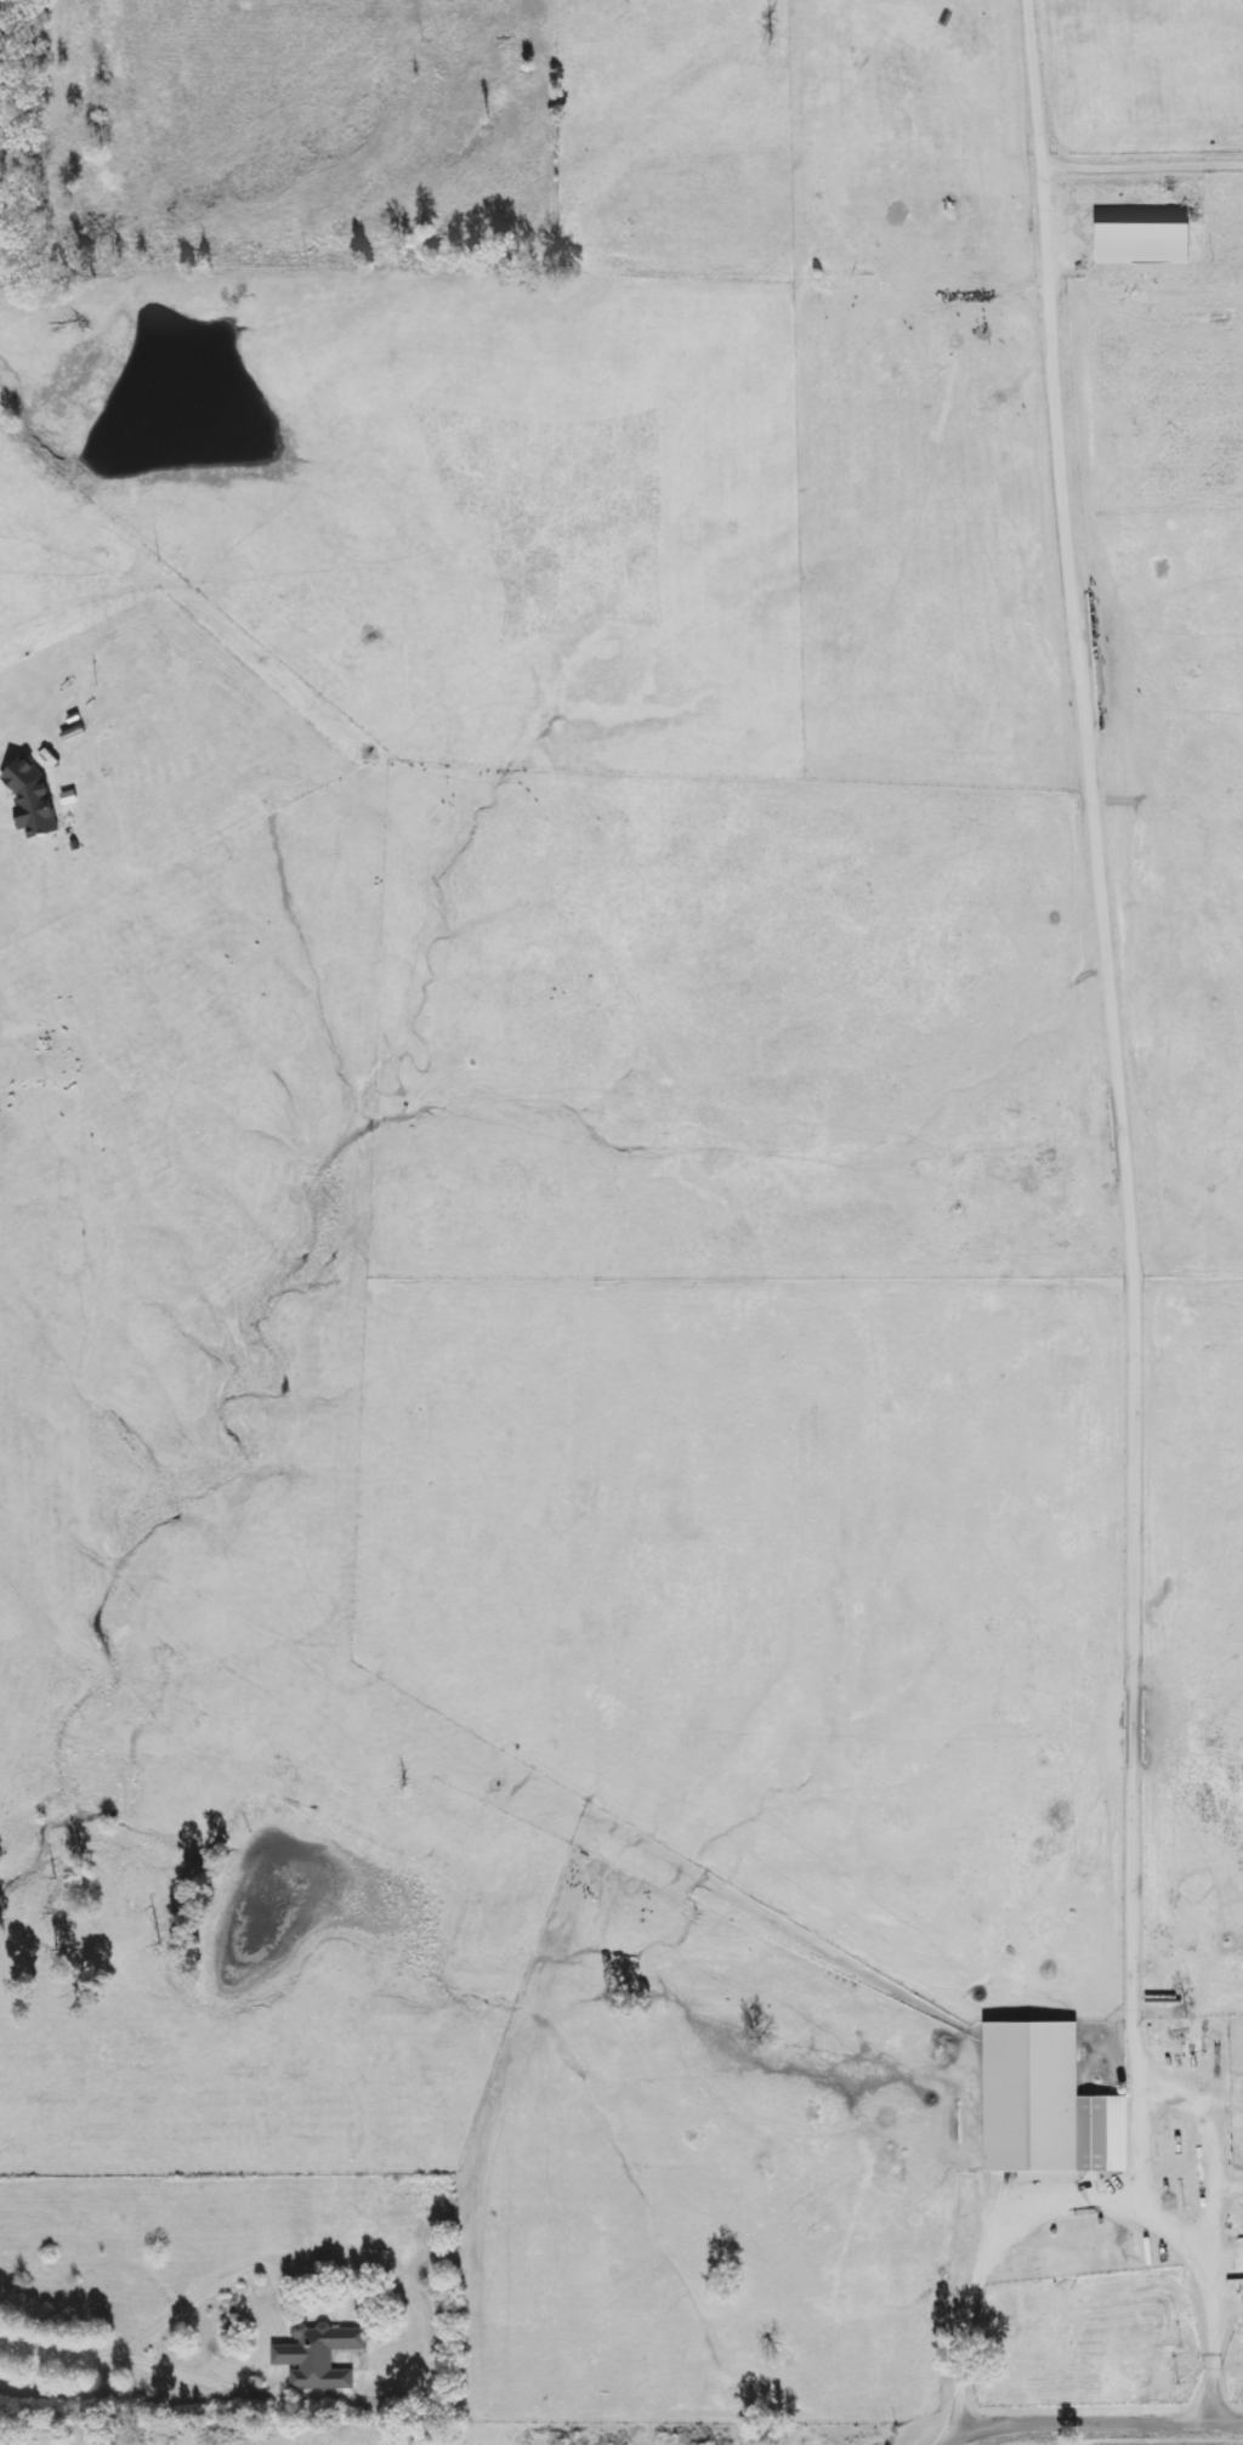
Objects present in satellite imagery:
building: (1140, 243)
building: (5, 794)
building: (29, 801)
building: (320, 2361)
road: (1099, 2423)

